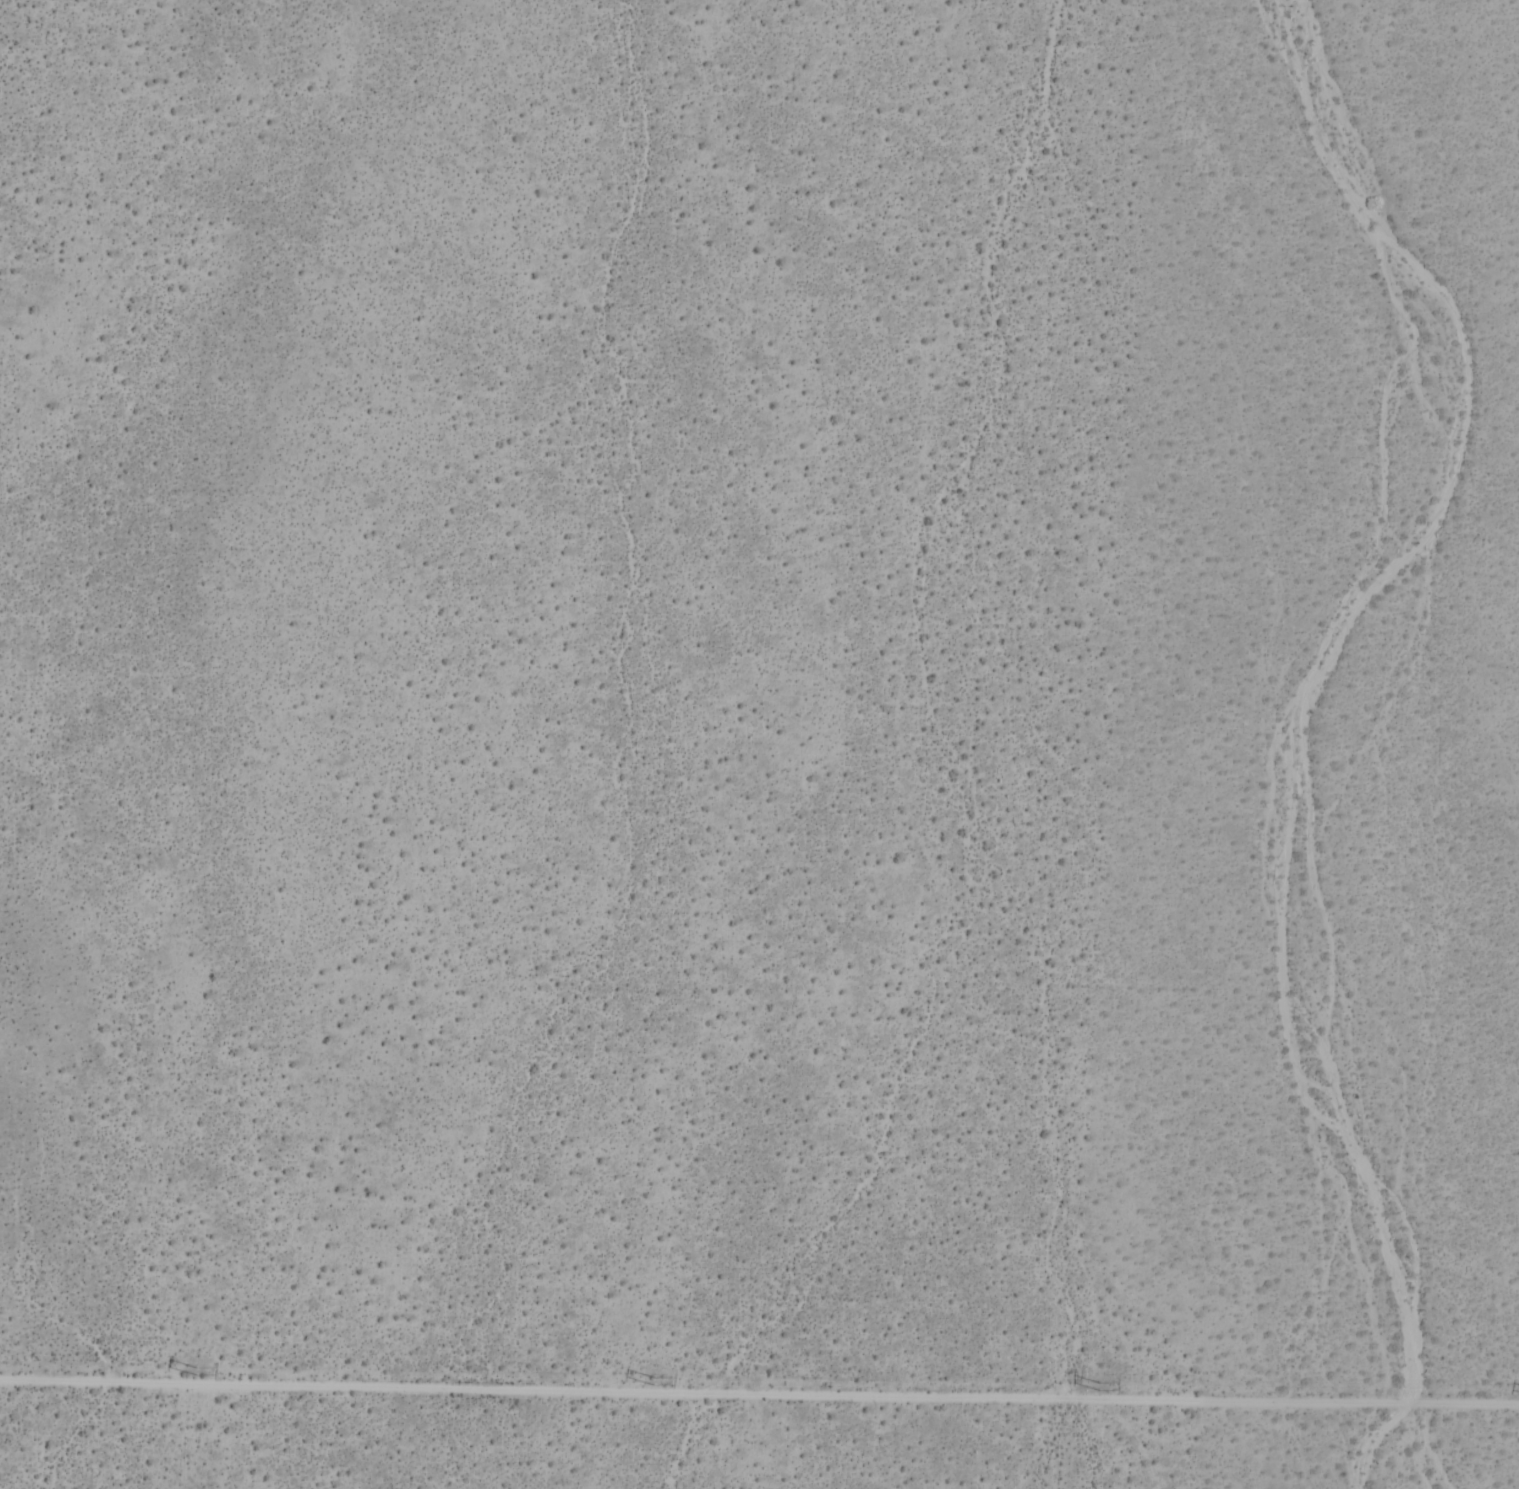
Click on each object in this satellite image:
power tower: (196, 1371)
power tower: (654, 1381)
power tower: (1100, 1386)

